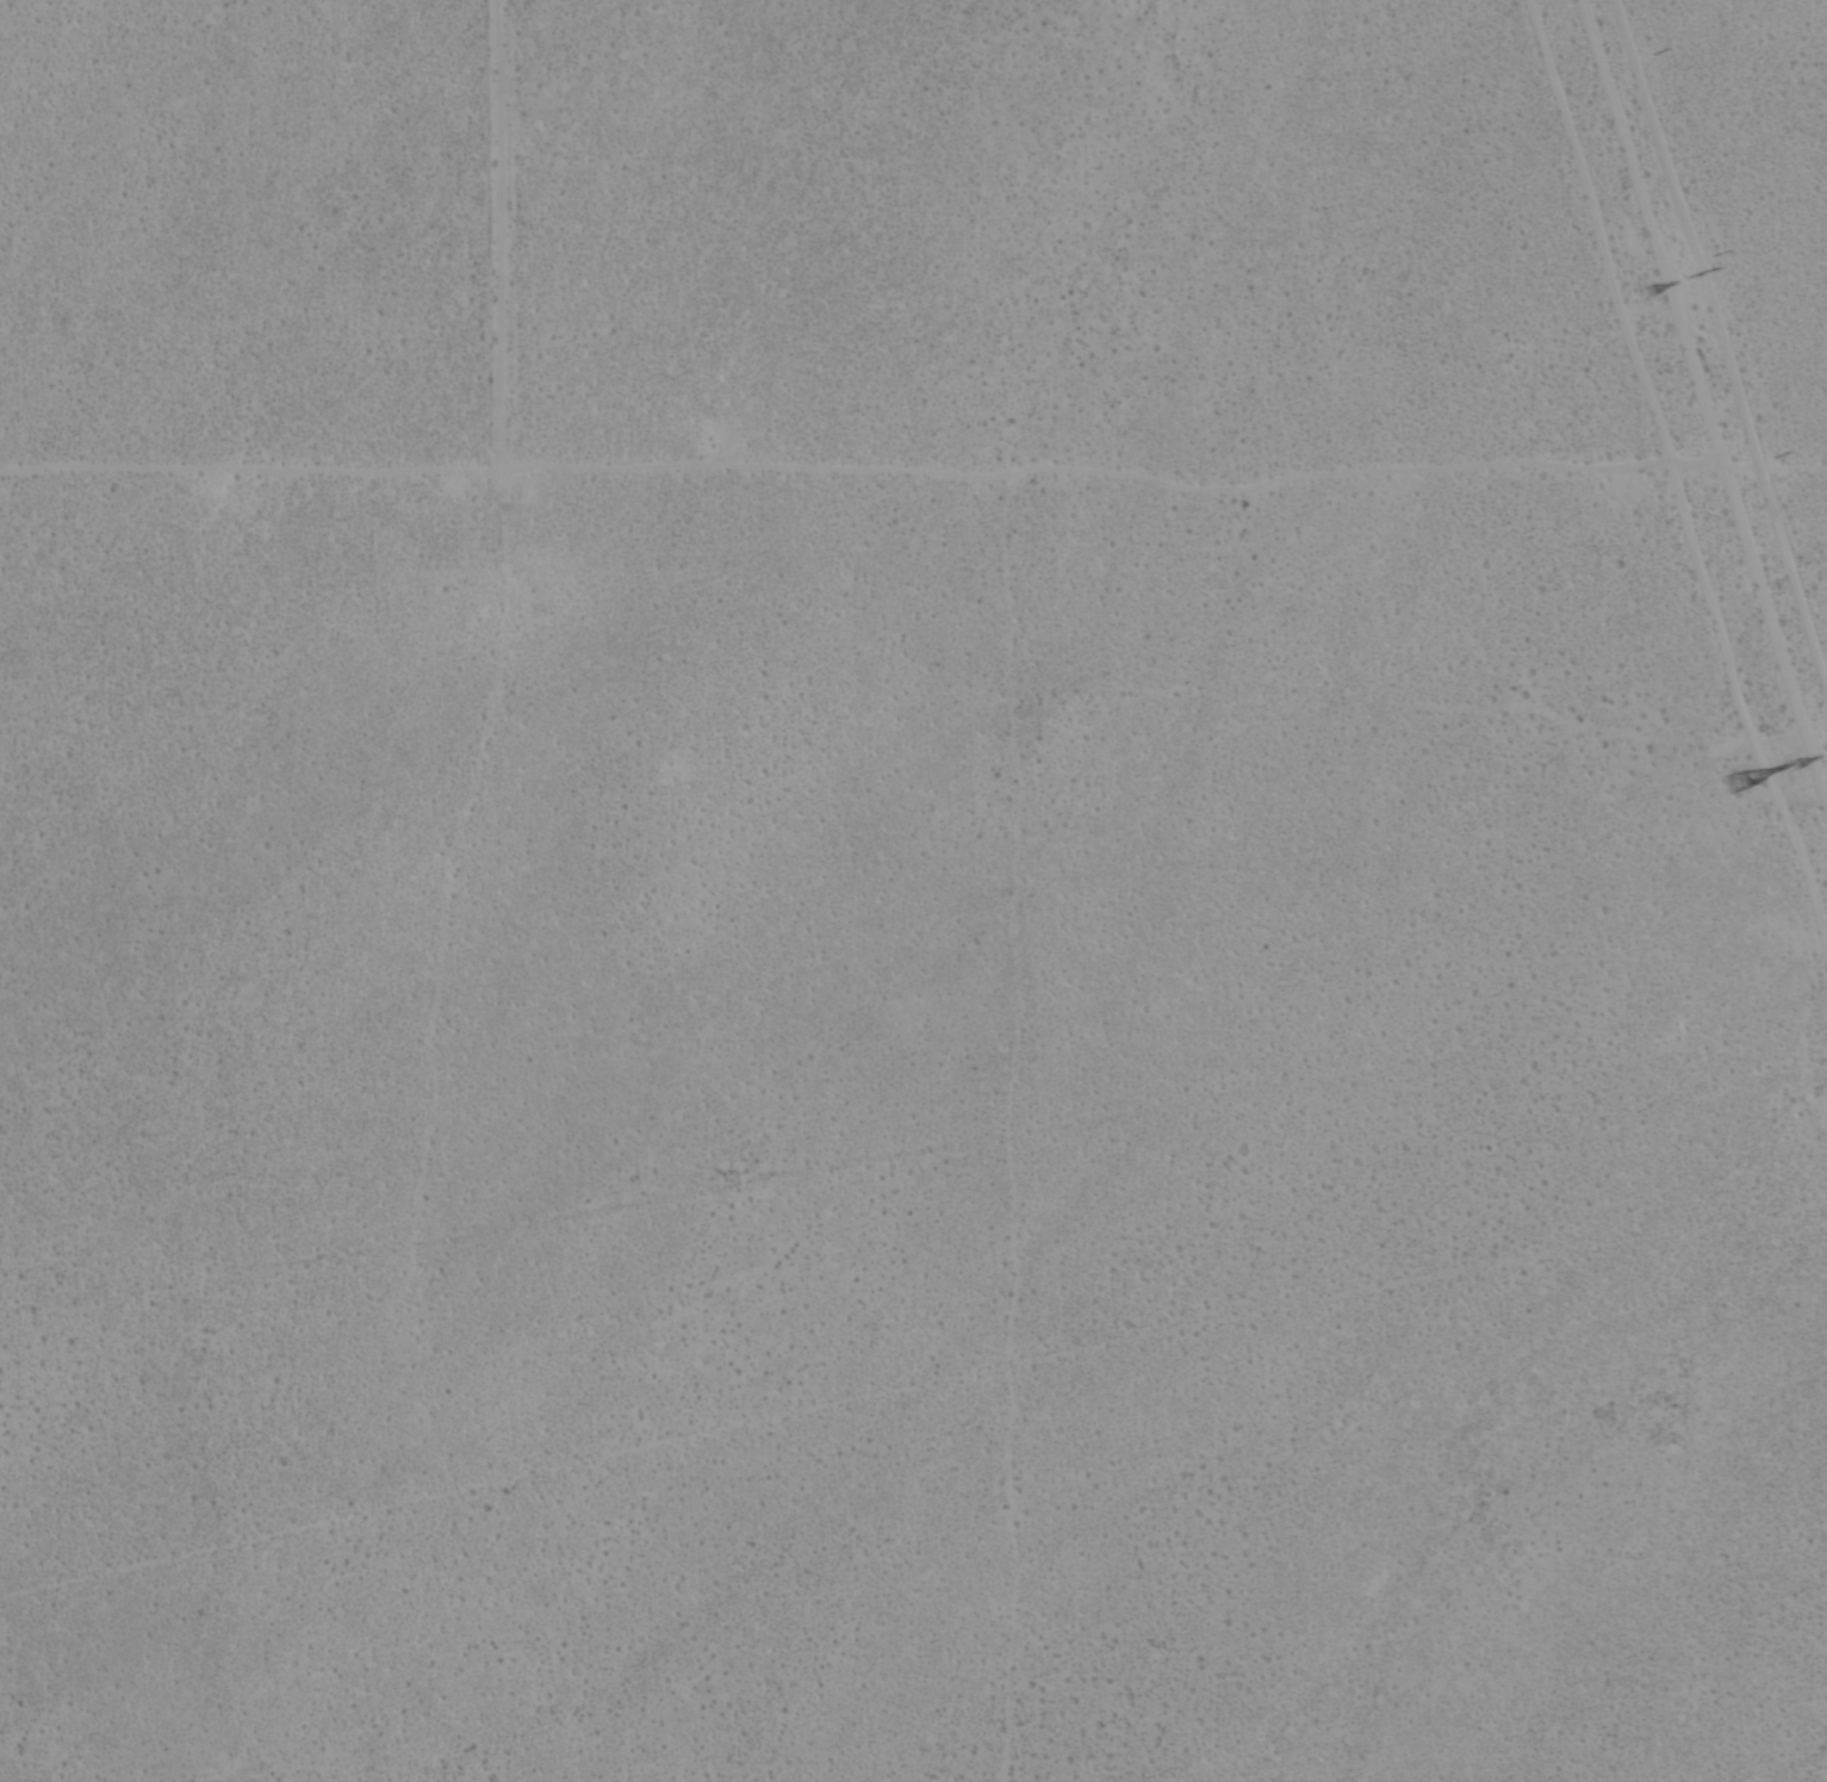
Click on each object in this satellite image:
power tower: (1699, 281)
power tower: (1649, 299)
power tower: (1790, 769)
power tower: (1734, 780)

